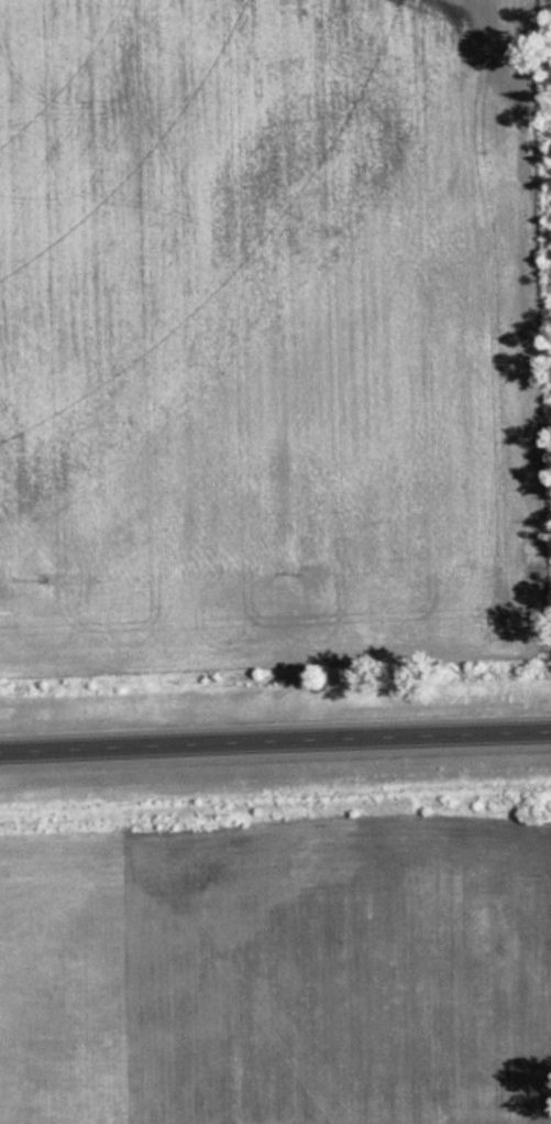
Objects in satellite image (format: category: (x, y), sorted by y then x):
road: (275, 744)

